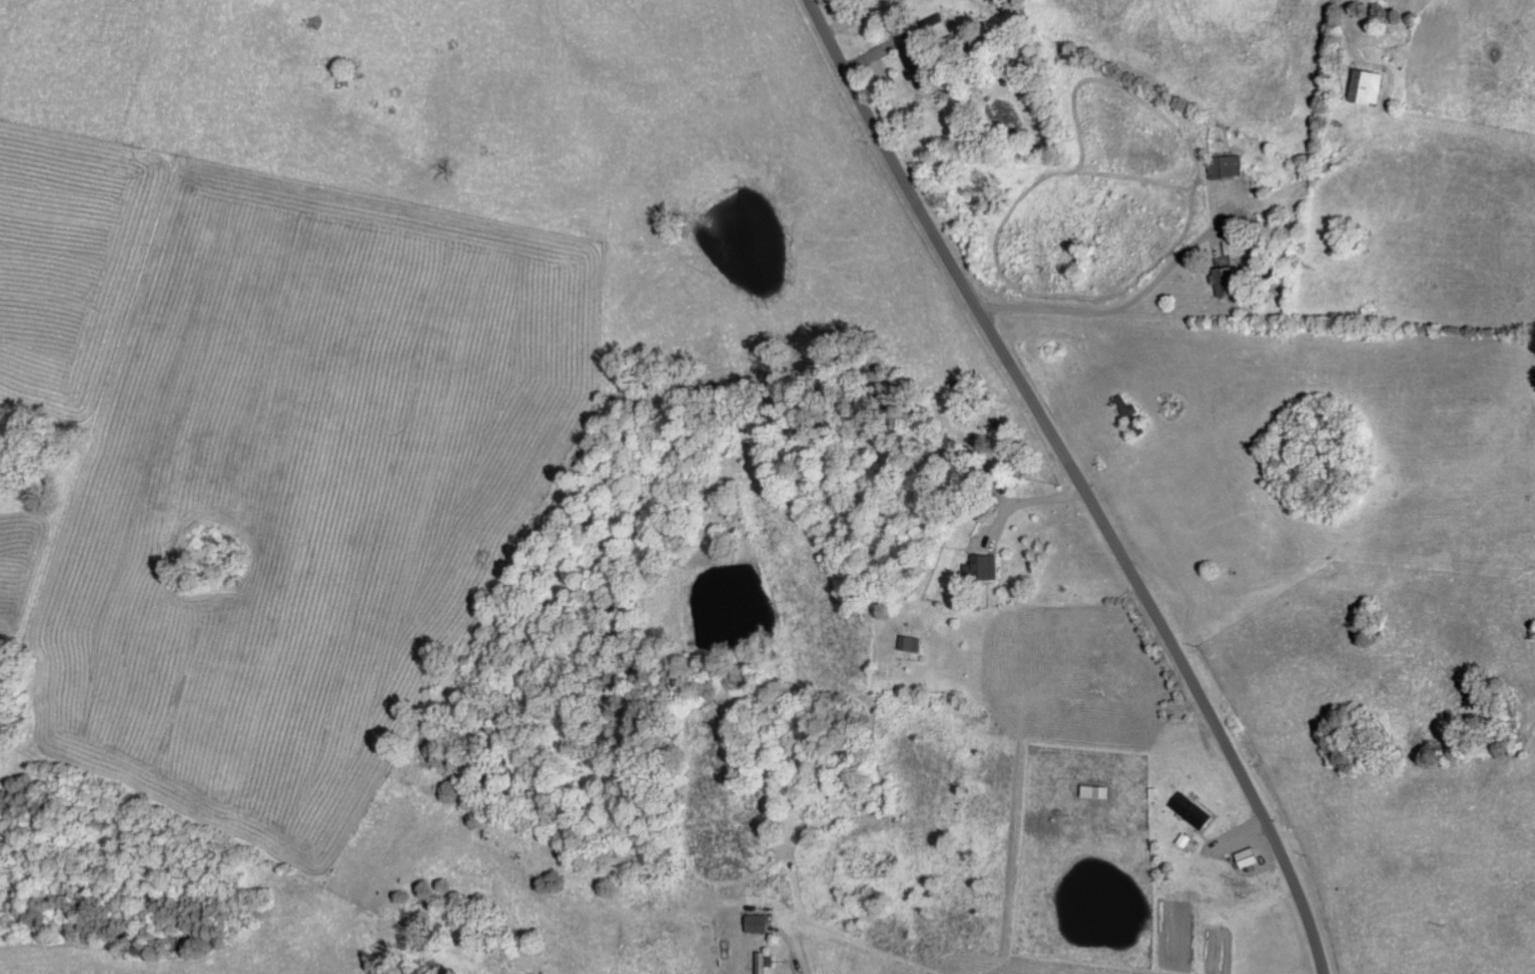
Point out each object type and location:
building: (914, 57)
building: (1365, 86)
building: (1225, 165)
building: (1222, 281)
road: (1077, 481)
road: (1024, 501)
building: (981, 566)
building: (907, 643)
building: (1094, 790)
building: (1191, 809)
building: (1247, 857)
building: (754, 922)
building: (762, 961)

